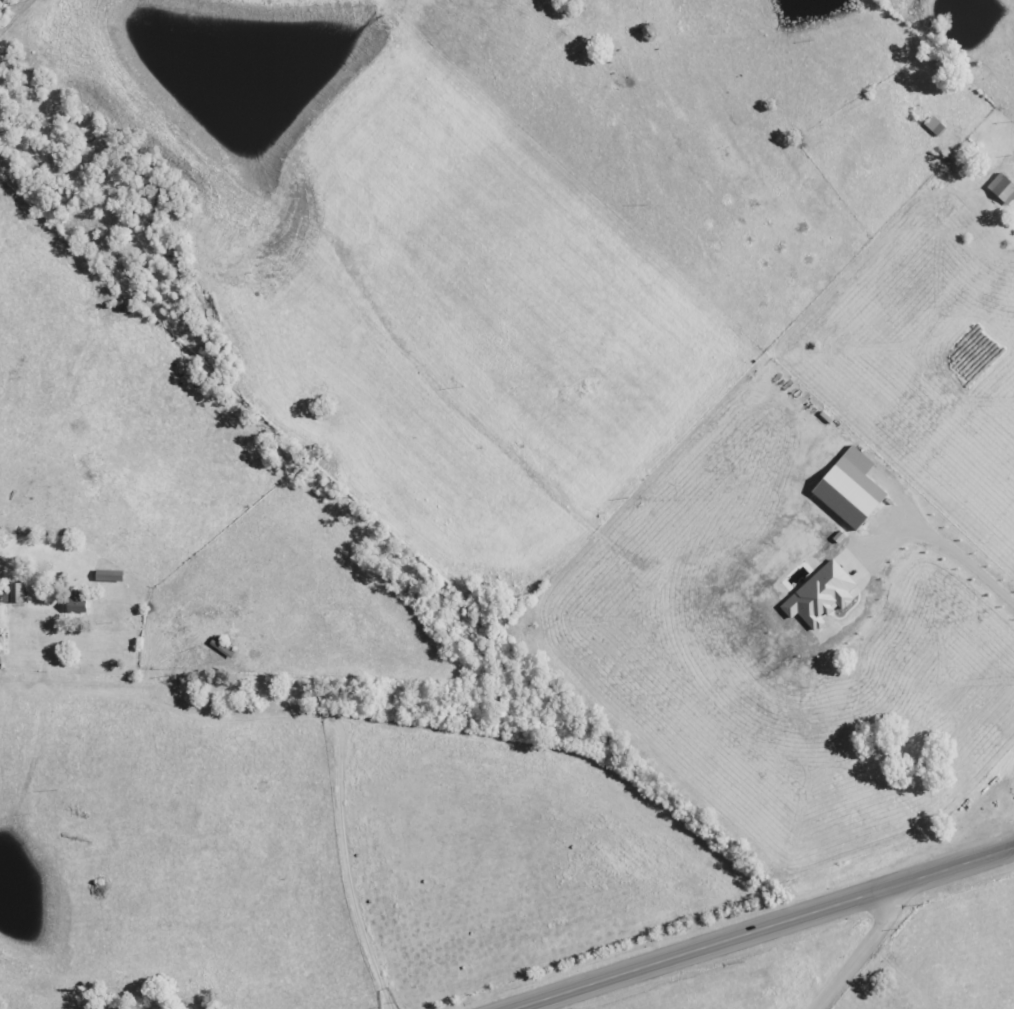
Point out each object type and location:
building: (935, 127)
building: (1002, 189)
building: (848, 493)
building: (13, 593)
building: (820, 596)
building: (76, 603)
road: (460, 729)
road: (763, 928)
road: (868, 945)

